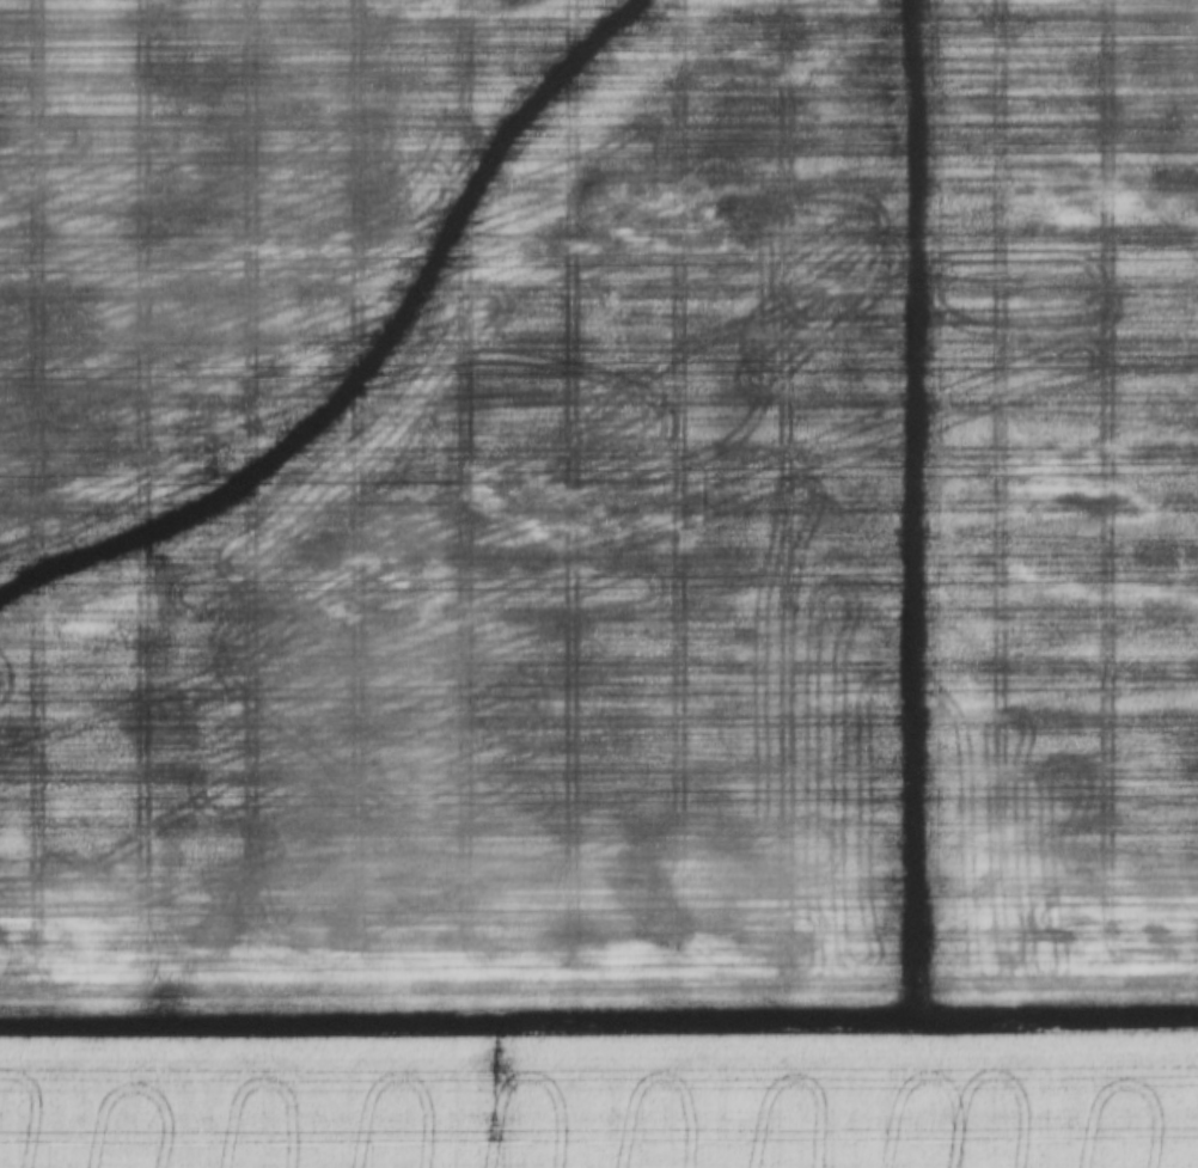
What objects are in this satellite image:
crop: (598, 501)
crop: (600, 1100)

